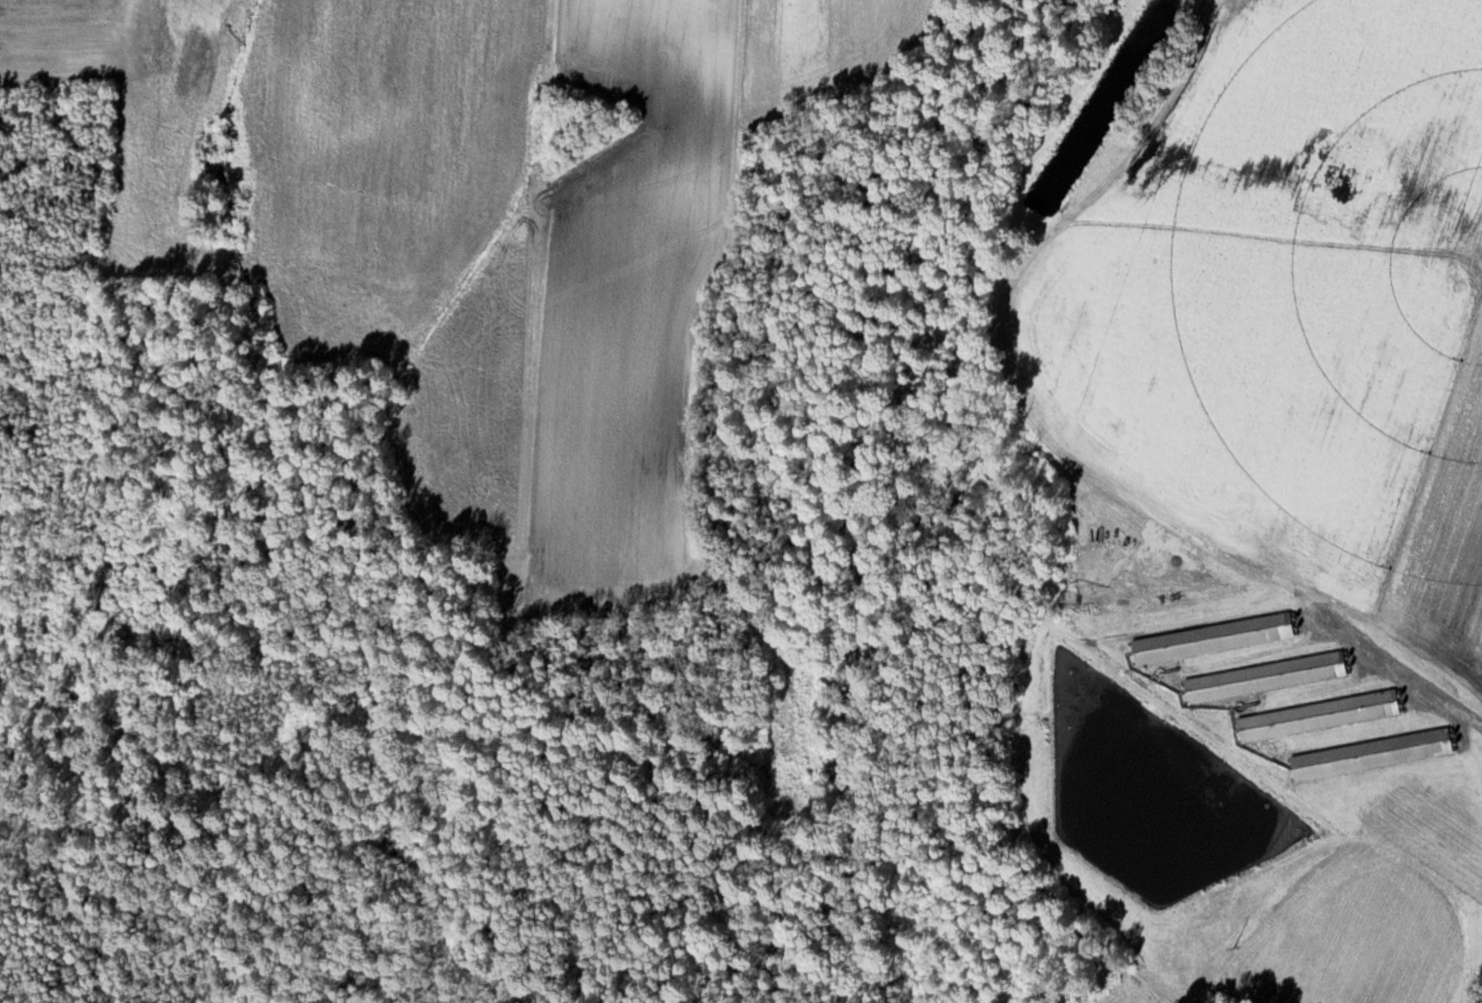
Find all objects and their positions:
building: (1211, 637)
building: (1265, 676)
building: (1317, 715)
building: (1370, 753)

